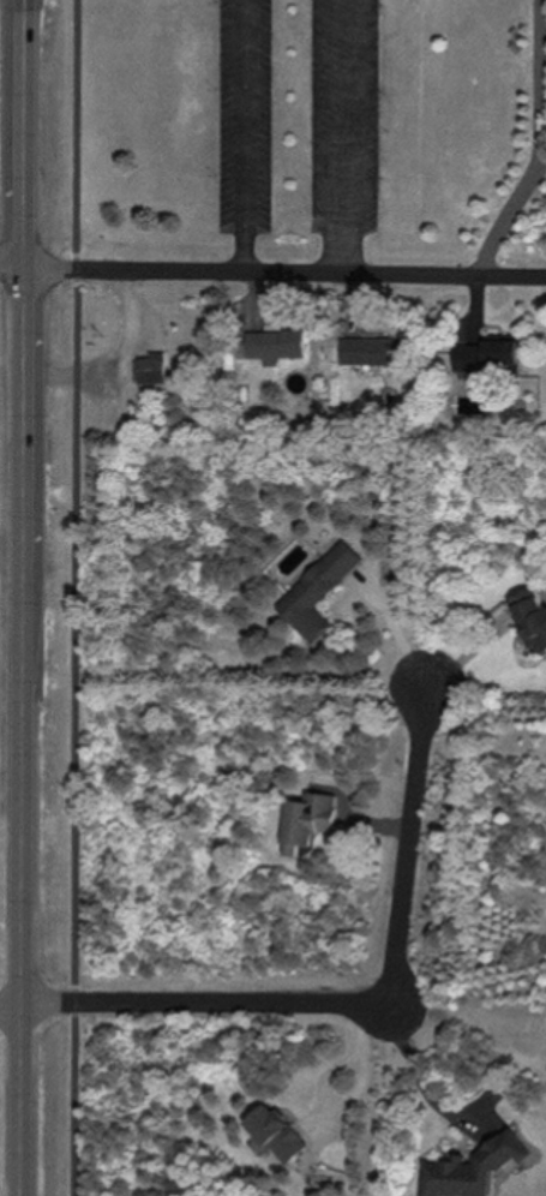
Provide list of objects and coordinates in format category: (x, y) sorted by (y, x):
parking lot: (247, 115)
parking lot: (347, 115)
road: (77, 127)
road: (319, 128)
road: (24, 132)
road: (247, 136)
road: (358, 138)
road: (539, 144)
road: (78, 269)
road: (272, 271)
road: (78, 323)
building: (280, 345)
building: (378, 351)
building: (491, 354)
road: (116, 358)
building: (152, 369)
road: (78, 373)
road: (23, 453)
building: (320, 591)
building: (533, 616)
road: (397, 632)
road: (76, 686)
building: (307, 819)
road: (22, 919)
road: (76, 1000)
road: (359, 1001)
road: (11, 1007)
road: (415, 1070)
road: (74, 1106)
building: (280, 1132)
building: (476, 1167)

